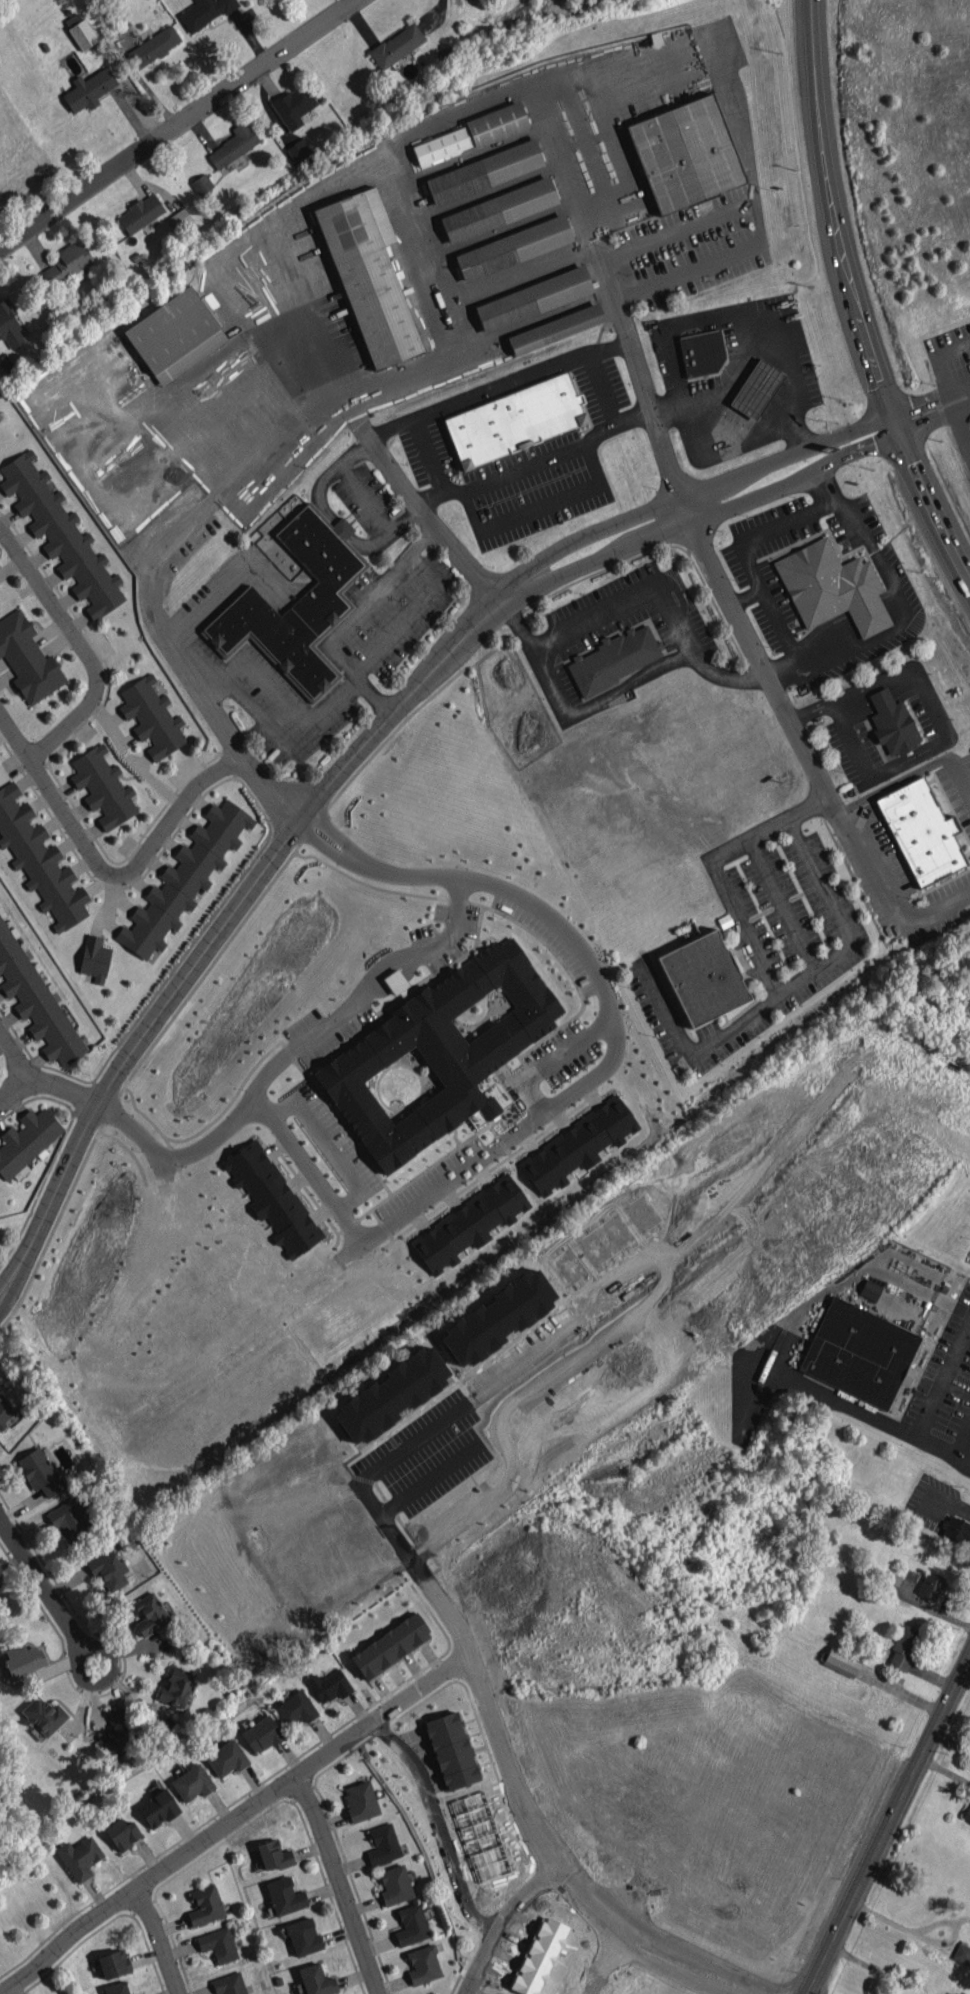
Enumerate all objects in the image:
building: (204, 12)
building: (82, 34)
building: (396, 45)
building: (153, 46)
building: (88, 89)
building: (293, 105)
road: (179, 125)
building: (473, 133)
building: (233, 144)
building: (298, 150)
building: (685, 153)
building: (484, 171)
building: (201, 183)
building: (498, 209)
building: (140, 213)
road: (756, 218)
building: (178, 219)
building: (513, 247)
road: (903, 253)
building: (66, 263)
building: (368, 275)
building: (533, 298)
road: (853, 299)
road: (737, 312)
building: (9, 325)
building: (555, 328)
building: (174, 334)
building: (701, 353)
road: (936, 361)
road: (731, 372)
road: (637, 381)
building: (756, 388)
road: (459, 402)
road: (932, 407)
building: (515, 420)
road: (959, 427)
road: (719, 445)
road: (428, 454)
road: (329, 475)
road: (473, 479)
road: (686, 494)
road: (539, 508)
road: (698, 514)
road: (341, 528)
road: (773, 530)
building: (59, 533)
road: (387, 533)
road: (162, 563)
road: (225, 584)
building: (832, 587)
road: (638, 596)
road: (409, 613)
road: (349, 617)
road: (785, 636)
road: (81, 647)
building: (27, 658)
building: (613, 658)
road: (764, 668)
road: (599, 700)
building: (151, 717)
building: (892, 722)
road: (280, 732)
road: (15, 735)
road: (912, 773)
road: (272, 785)
building: (102, 786)
building: (921, 832)
building: (39, 861)
road: (132, 869)
building: (183, 879)
road: (887, 907)
road: (220, 923)
building: (94, 958)
road: (772, 973)
building: (702, 977)
road: (370, 997)
building: (35, 1000)
road: (582, 1042)
road: (694, 1050)
building: (438, 1053)
road: (14, 1055)
road: (62, 1089)
road: (15, 1090)
road: (538, 1096)
road: (527, 1130)
building: (26, 1141)
building: (576, 1146)
road: (332, 1147)
building: (271, 1198)
building: (468, 1224)
road: (1, 1288)
road: (1, 1290)
building: (870, 1290)
building: (497, 1316)
building: (858, 1352)
building: (391, 1394)
building: (5, 1410)
road: (413, 1441)
building: (39, 1472)
road: (429, 1484)
building: (70, 1520)
building: (957, 1530)
building: (108, 1569)
building: (930, 1585)
road: (56, 1606)
building: (150, 1614)
building: (390, 1645)
road: (99, 1646)
building: (903, 1647)
building: (23, 1659)
building: (841, 1661)
building: (329, 1685)
building: (176, 1687)
building: (295, 1708)
building: (43, 1715)
building: (116, 1731)
building: (261, 1734)
building: (454, 1751)
building: (226, 1758)
road: (510, 1766)
building: (192, 1782)
building: (357, 1801)
building: (157, 1808)
building: (967, 1813)
road: (233, 1820)
road: (890, 1826)
road: (438, 1827)
building: (121, 1833)
building: (483, 1836)
building: (379, 1843)
building: (273, 1855)
building: (79, 1857)
building: (392, 1883)
road: (339, 1885)
building: (285, 1896)
building: (205, 1905)
road: (504, 1921)
building: (408, 1924)
building: (303, 1936)
road: (160, 1939)
building: (218, 1944)
building: (961, 1953)
building: (543, 1957)
road: (700, 1958)
building: (113, 1963)
building: (420, 1963)
road: (605, 1966)
road: (670, 1971)
building: (316, 1980)
building: (229, 1984)
building: (116, 1988)

